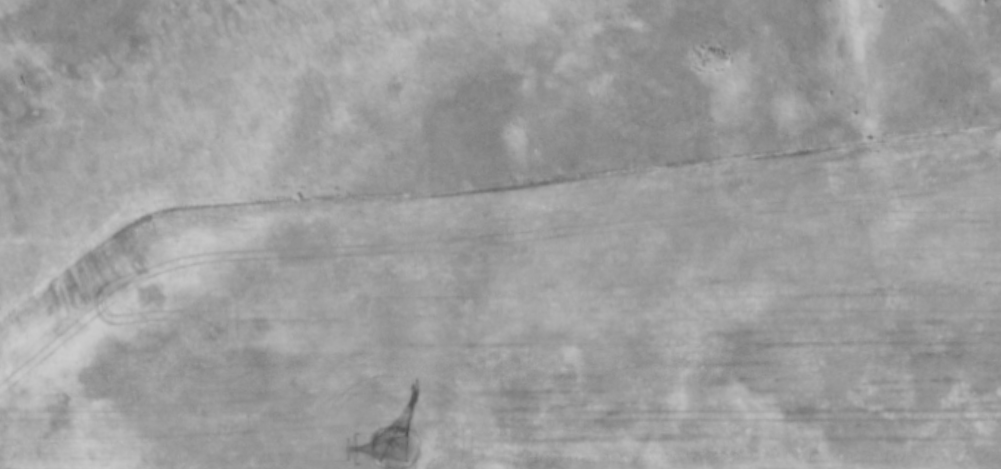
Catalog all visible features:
power tower: (390, 446)

